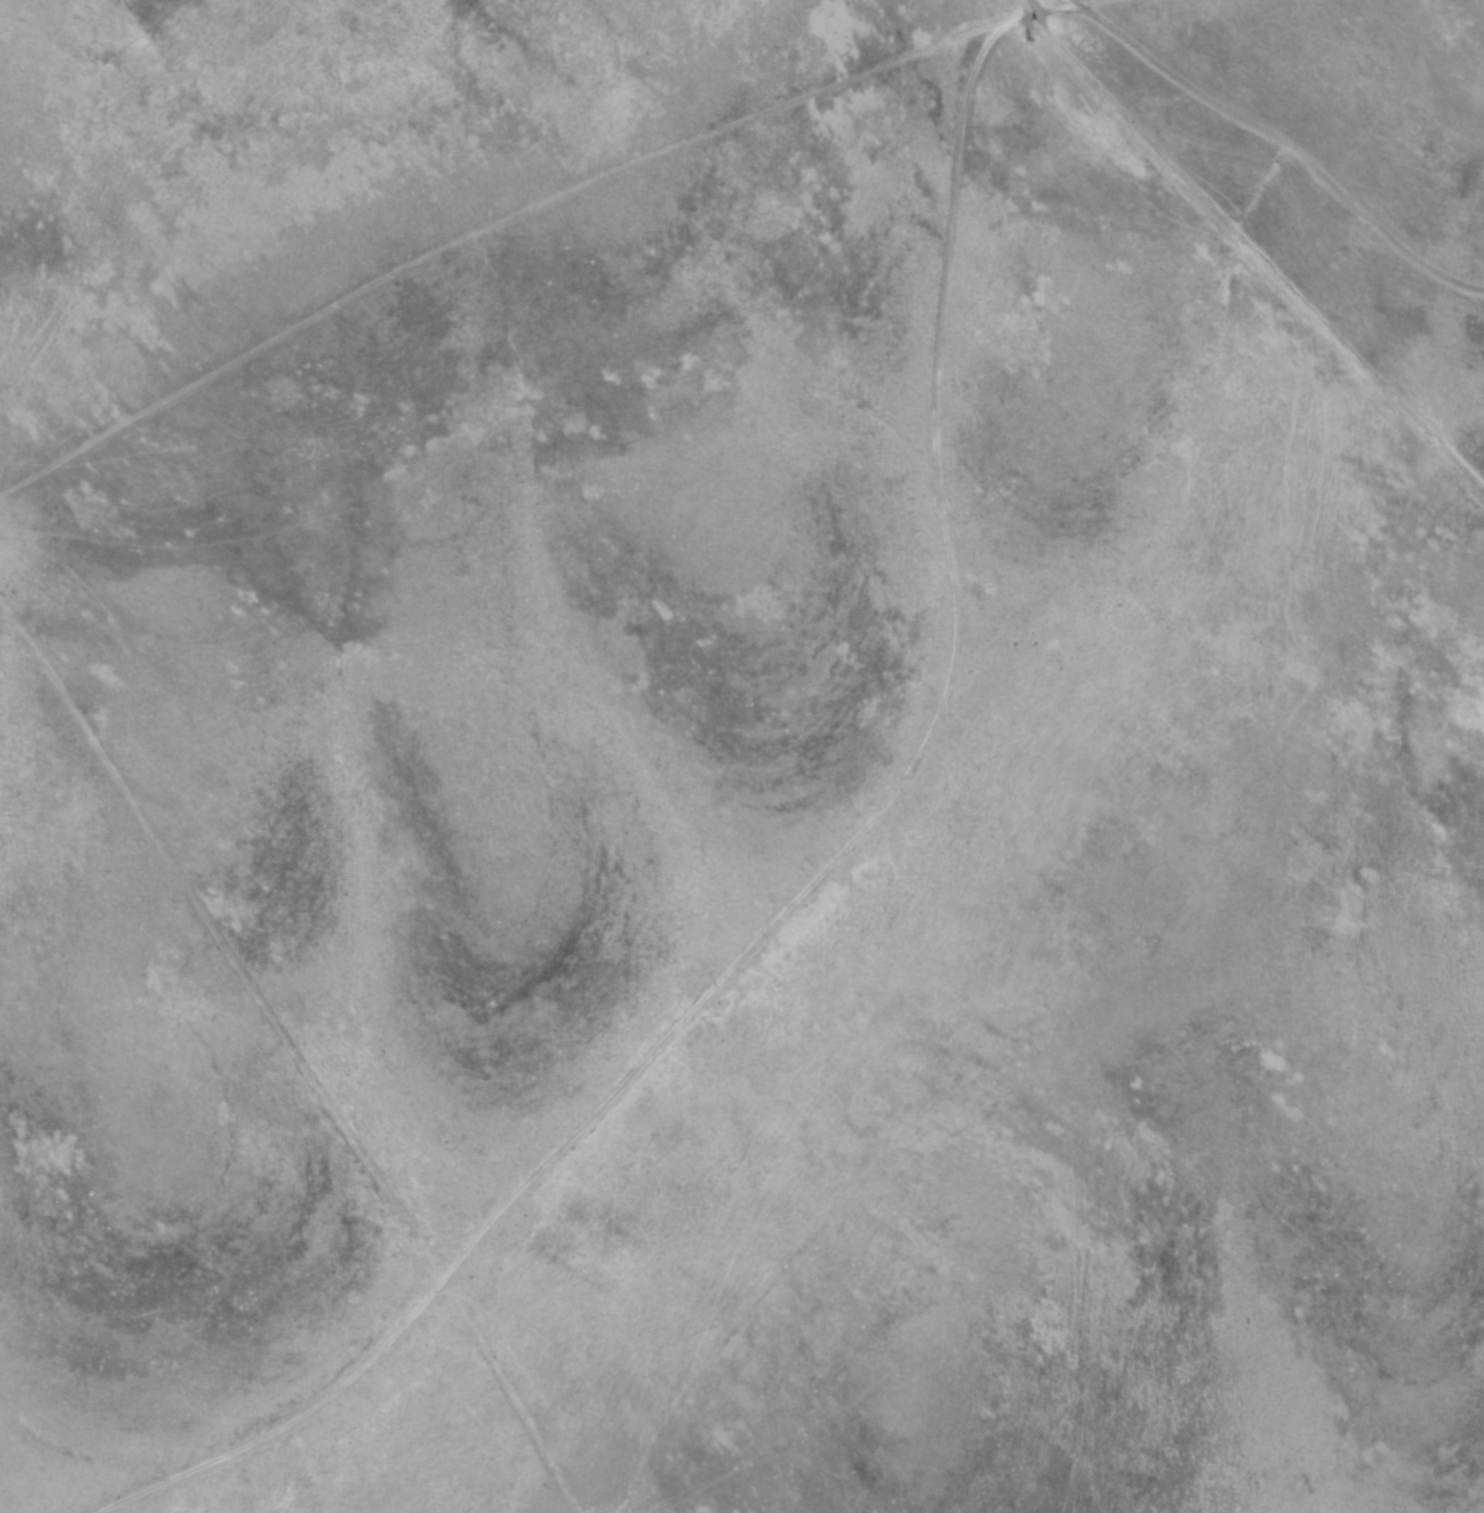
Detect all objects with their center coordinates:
road: (1280, 145)

